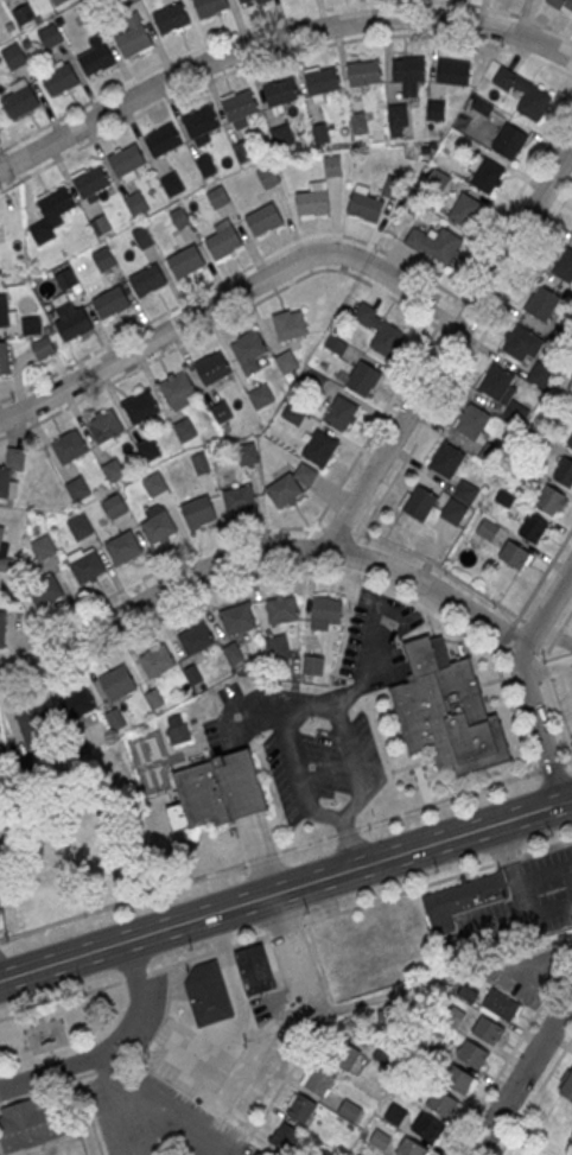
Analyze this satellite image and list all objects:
building: (243, 1)
building: (261, 1)
building: (59, 2)
building: (126, 2)
building: (559, 4)
building: (209, 7)
road: (509, 12)
building: (24, 14)
building: (89, 15)
building: (171, 19)
building: (50, 37)
road: (274, 38)
building: (134, 42)
road: (185, 51)
building: (13, 56)
road: (275, 57)
building: (96, 61)
building: (408, 70)
building: (363, 74)
building: (453, 74)
building: (59, 81)
building: (323, 82)
building: (281, 93)
building: (21, 103)
building: (534, 104)
building: (240, 106)
building: (436, 110)
building: (398, 121)
building: (201, 123)
building: (280, 135)
building: (163, 141)
building: (509, 144)
building: (243, 152)
building: (127, 161)
building: (206, 166)
building: (332, 166)
building: (269, 177)
building: (489, 177)
building: (91, 182)
building: (173, 185)
building: (218, 197)
building: (313, 203)
building: (56, 204)
building: (138, 204)
building: (364, 204)
building: (466, 212)
building: (180, 218)
building: (263, 220)
building: (101, 226)
building: (142, 239)
building: (223, 243)
building: (444, 246)
building: (104, 260)
building: (186, 262)
building: (564, 267)
road: (229, 277)
building: (66, 278)
building: (148, 281)
road: (230, 297)
building: (112, 304)
building: (542, 305)
road: (477, 307)
building: (4, 310)
road: (222, 321)
road: (439, 321)
building: (74, 325)
building: (290, 325)
building: (32, 326)
road: (449, 332)
building: (388, 342)
building: (520, 344)
building: (336, 345)
road: (447, 347)
building: (43, 349)
building: (249, 353)
building: (5, 358)
building: (286, 362)
building: (212, 369)
building: (540, 376)
building: (363, 380)
building: (314, 381)
building: (495, 383)
building: (177, 389)
building: (261, 398)
building: (141, 410)
building: (221, 413)
building: (341, 414)
building: (515, 414)
building: (293, 415)
building: (472, 423)
building: (106, 427)
building: (185, 431)
road: (415, 440)
building: (570, 444)
building: (69, 448)
building: (320, 450)
building: (148, 451)
building: (247, 453)
building: (491, 455)
building: (446, 461)
building: (201, 463)
building: (11, 471)
building: (114, 471)
building: (565, 474)
building: (291, 484)
building: (154, 486)
building: (77, 490)
building: (466, 493)
building: (240, 501)
building: (549, 501)
building: (420, 504)
building: (115, 507)
building: (197, 512)
building: (455, 513)
building: (80, 529)
building: (159, 529)
road: (337, 529)
building: (488, 529)
building: (533, 529)
road: (360, 533)
building: (1, 542)
road: (301, 544)
building: (43, 547)
building: (122, 548)
road: (350, 550)
road: (260, 553)
building: (514, 556)
building: (87, 569)
road: (155, 569)
road: (304, 572)
road: (542, 576)
building: (46, 592)
building: (282, 611)
building: (326, 613)
building: (237, 620)
road: (535, 627)
building: (2, 628)
road: (555, 634)
road: (502, 636)
road: (559, 637)
building: (196, 639)
building: (157, 662)
road: (542, 668)
road: (547, 668)
road: (522, 679)
building: (119, 686)
parking lot: (565, 699)
building: (77, 704)
building: (450, 711)
road: (559, 716)
road: (285, 718)
building: (115, 719)
parking lot: (324, 719)
building: (33, 725)
building: (179, 731)
road: (567, 761)
road: (409, 764)
road: (551, 766)
road: (422, 783)
building: (224, 789)
road: (269, 853)
road: (258, 861)
road: (437, 880)
road: (285, 890)
building: (464, 900)
parking lot: (516, 907)
road: (285, 928)
road: (206, 952)
road: (272, 962)
road: (229, 964)
building: (256, 969)
road: (135, 975)
road: (437, 982)
building: (209, 992)
road: (282, 992)
building: (468, 992)
road: (62, 998)
road: (277, 1001)
building: (501, 1003)
road: (299, 1010)
road: (40, 1015)
building: (453, 1015)
road: (43, 1023)
road: (212, 1024)
building: (488, 1028)
road: (312, 1032)
road: (49, 1047)
road: (110, 1049)
parking lot: (193, 1051)
road: (52, 1053)
building: (341, 1053)
building: (384, 1053)
building: (472, 1053)
road: (509, 1054)
road: (56, 1062)
road: (202, 1072)
road: (521, 1074)
road: (77, 1077)
building: (456, 1077)
building: (319, 1079)
building: (567, 1086)
road: (534, 1094)
building: (441, 1102)
road: (120, 1103)
building: (301, 1108)
building: (349, 1109)
road: (174, 1110)
building: (395, 1112)
parking lot: (155, 1116)
building: (26, 1124)
building: (427, 1127)
building: (285, 1136)
building: (380, 1138)
road: (242, 1144)
building: (411, 1147)

